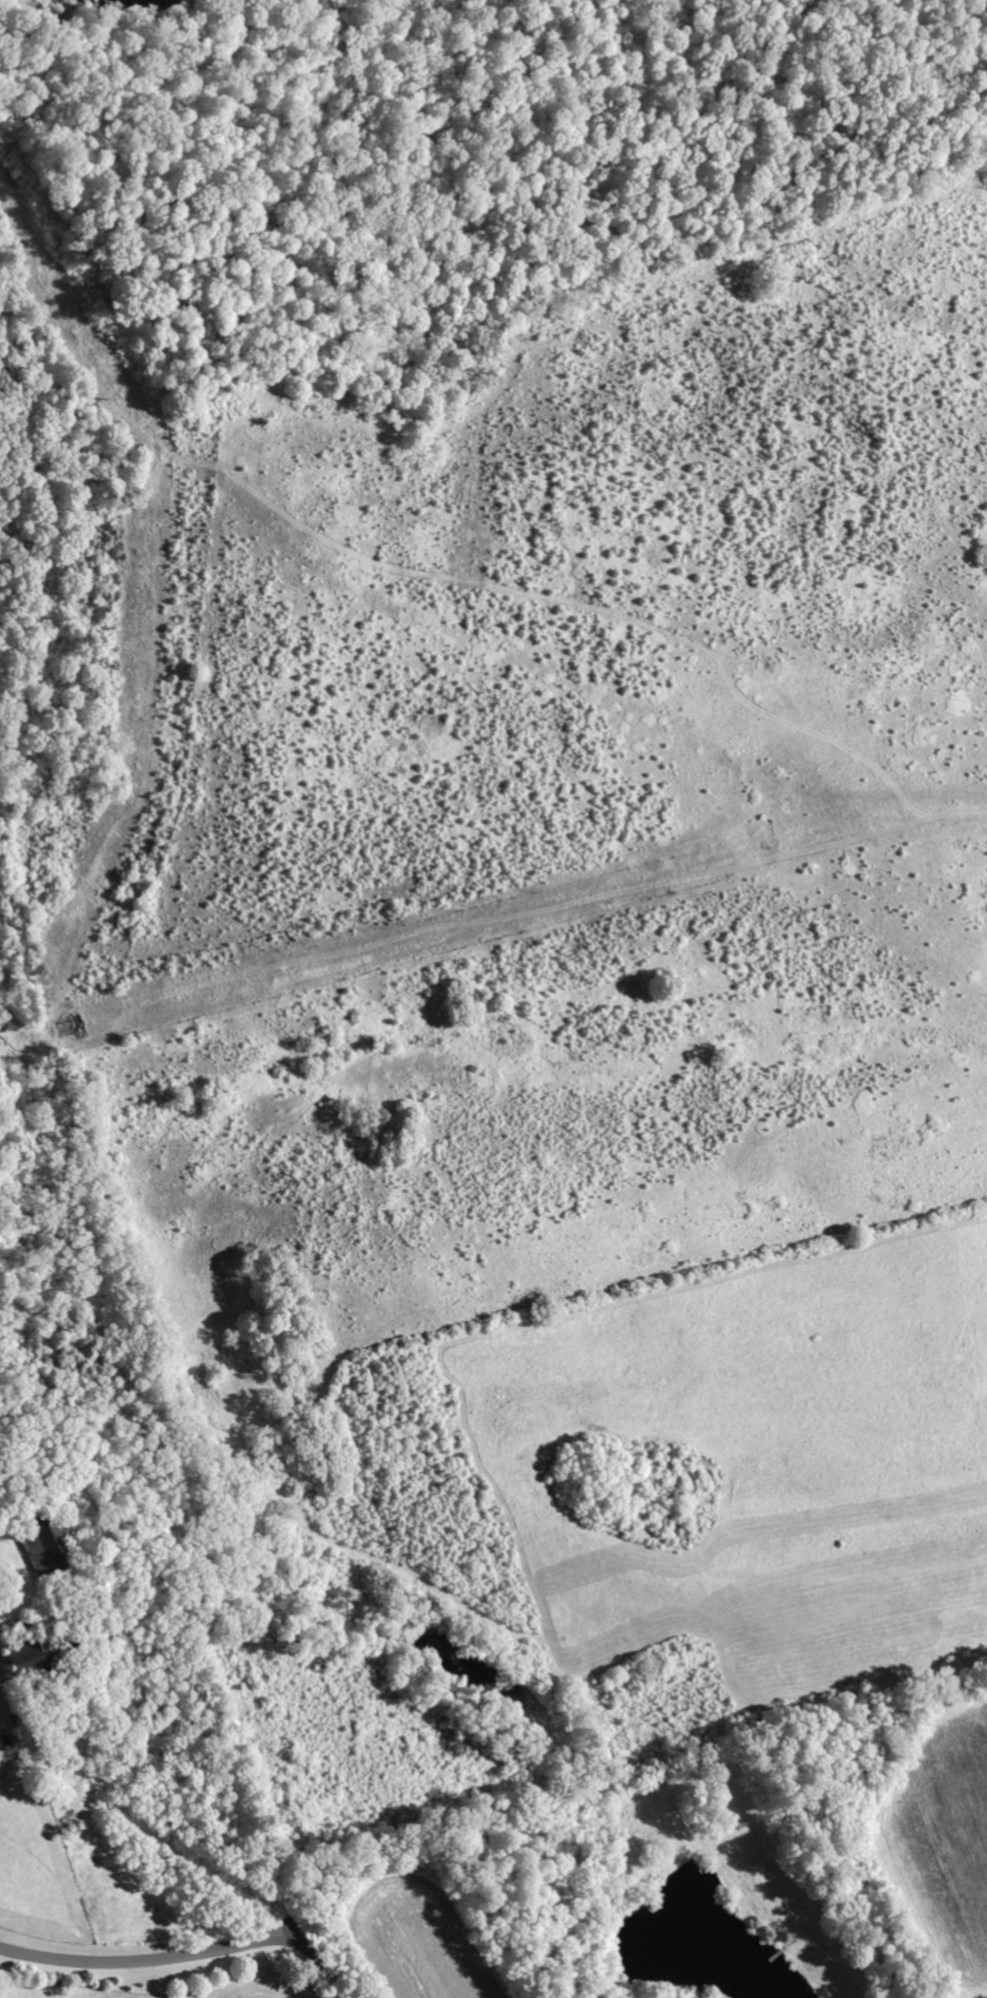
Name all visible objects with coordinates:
building: (39, 1547)
building: (33, 1662)
building: (4, 1741)
road: (188, 1949)

